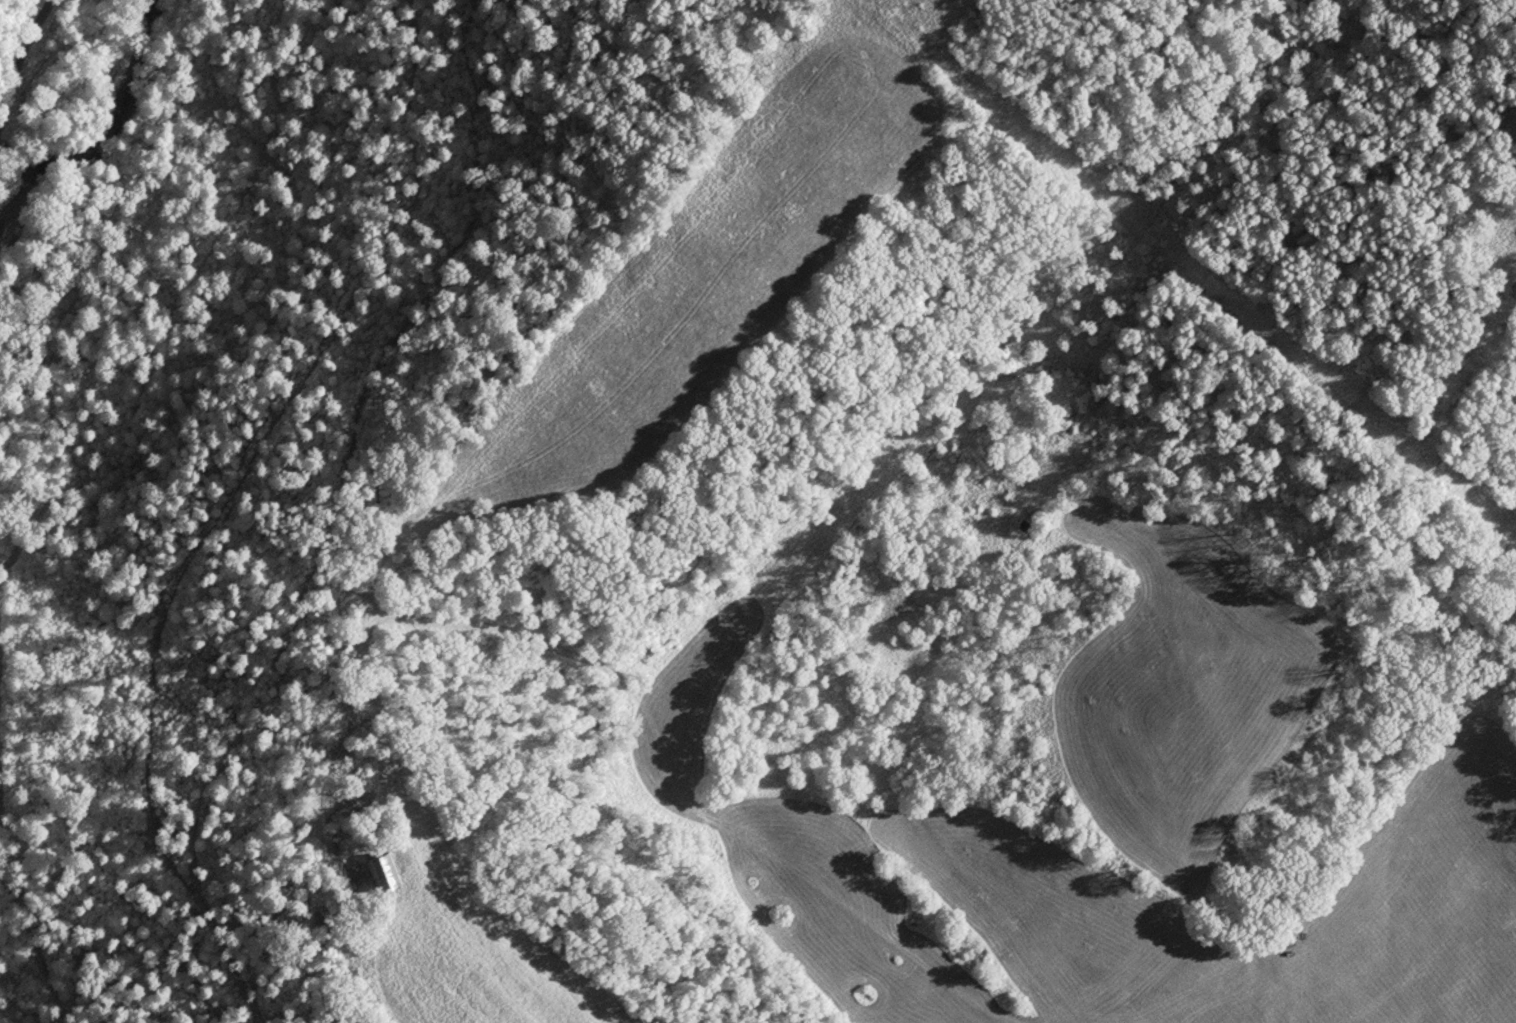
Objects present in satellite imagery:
road: (22, 50)
building: (381, 873)

